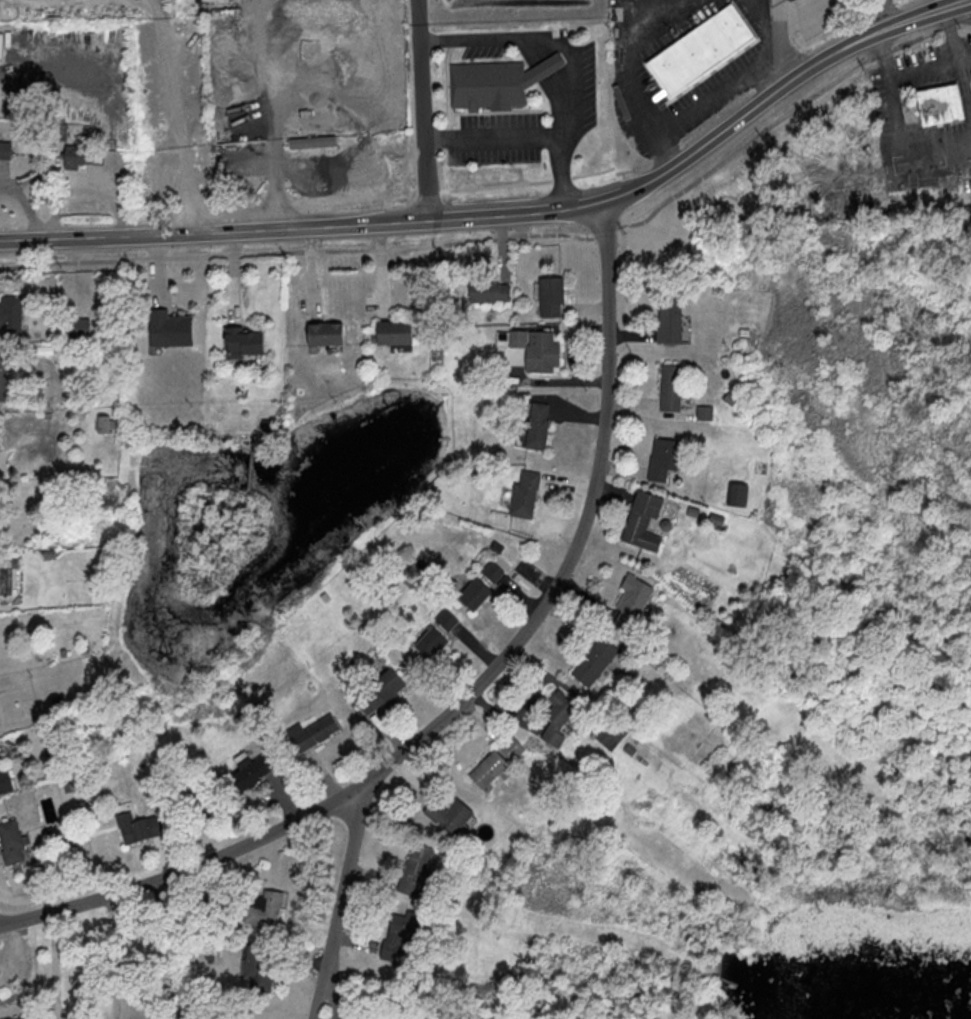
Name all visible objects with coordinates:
parking lot: (505, 12)
road: (893, 13)
building: (739, 25)
road: (544, 39)
road: (540, 49)
building: (695, 57)
road: (49, 62)
road: (927, 66)
road: (551, 67)
building: (501, 82)
road: (563, 86)
road: (779, 91)
road: (713, 93)
building: (937, 105)
road: (422, 111)
road: (177, 117)
road: (531, 137)
building: (310, 142)
building: (3, 149)
building: (72, 160)
road: (26, 207)
road: (300, 229)
building: (487, 291)
building: (549, 297)
building: (9, 318)
building: (667, 321)
building: (75, 327)
building: (168, 330)
building: (390, 333)
building: (322, 335)
building: (241, 343)
building: (535, 350)
building: (3, 376)
building: (668, 387)
building: (702, 412)
building: (101, 424)
building: (535, 426)
building: (662, 458)
building: (735, 493)
building: (523, 494)
building: (641, 520)
building: (490, 571)
building: (472, 593)
building: (629, 602)
building: (444, 619)
building: (428, 642)
building: (592, 661)
building: (384, 684)
road: (470, 696)
building: (365, 702)
building: (555, 716)
building: (311, 732)
building: (508, 747)
building: (486, 768)
building: (248, 773)
building: (4, 781)
building: (446, 814)
building: (136, 827)
building: (10, 843)
building: (414, 870)
road: (340, 901)
building: (263, 909)
building: (398, 935)
road: (117, 958)
building: (255, 970)
building: (452, 1015)
building: (19, 1018)

